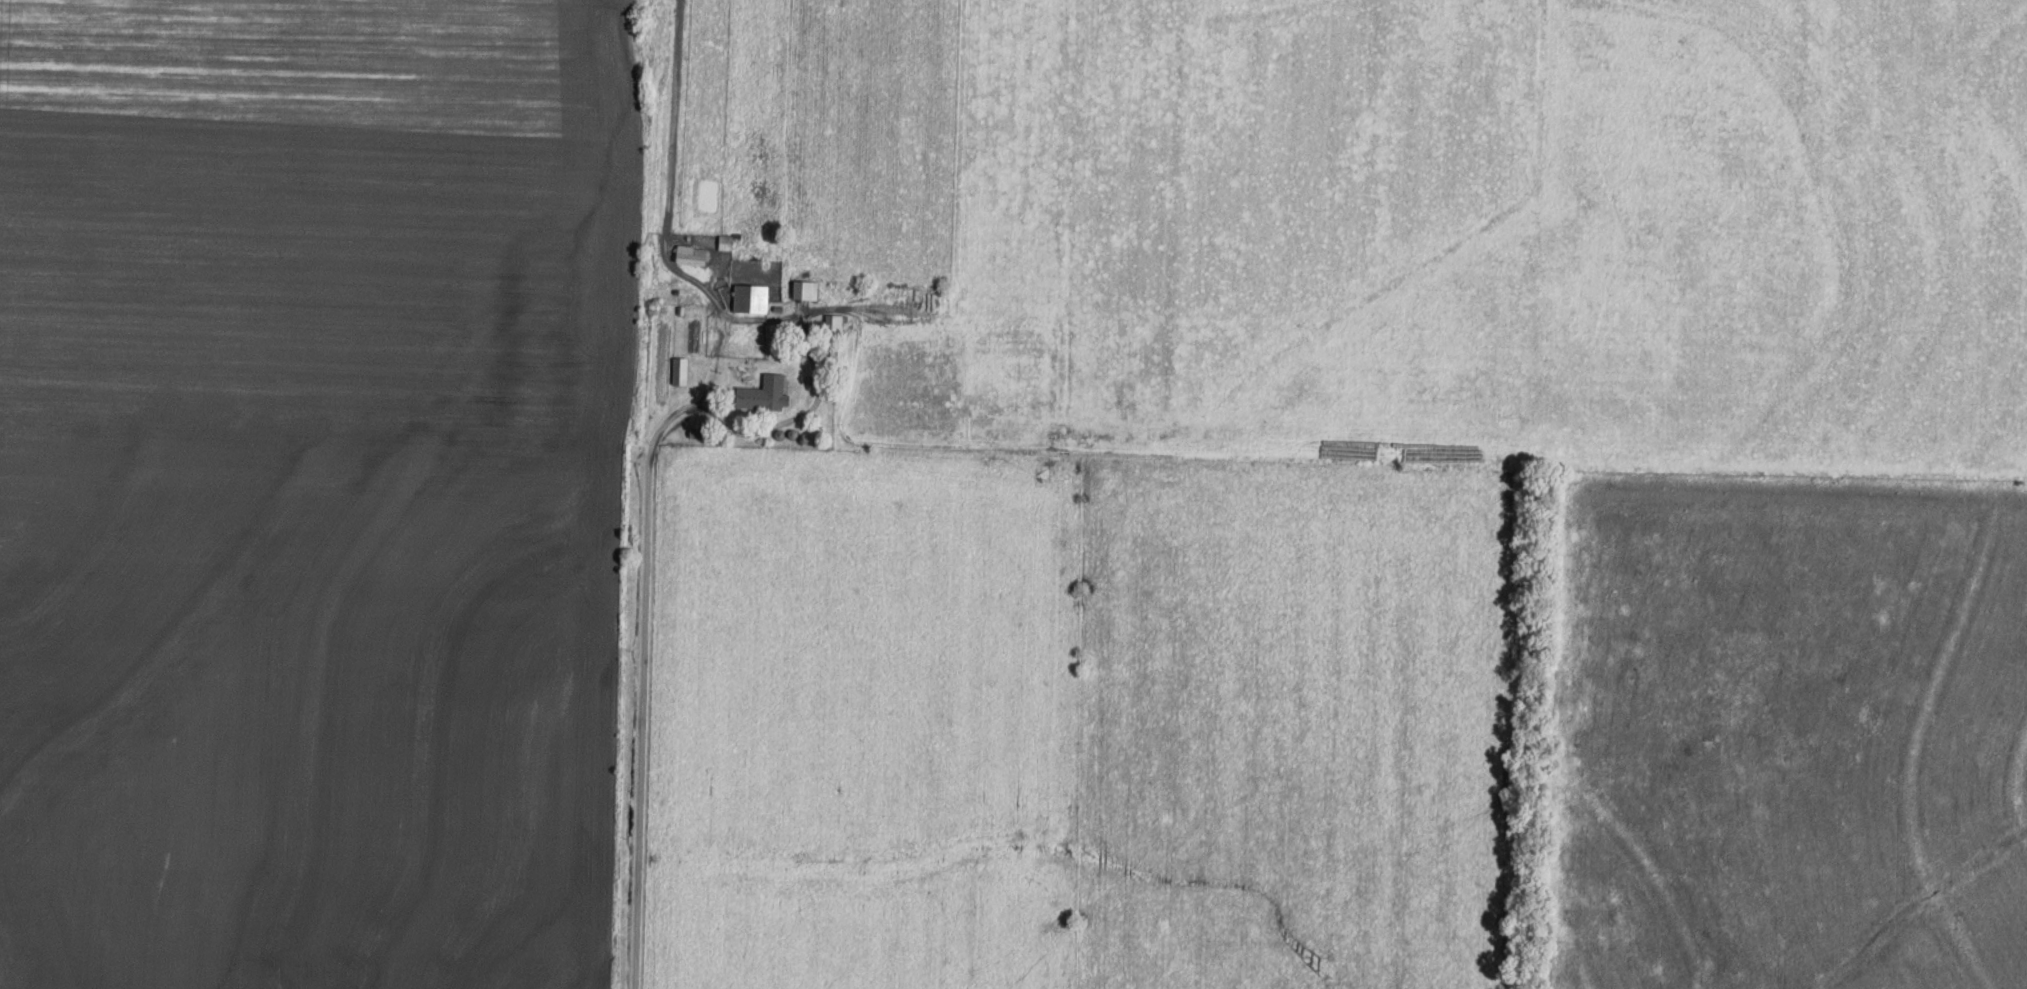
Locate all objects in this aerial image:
building: (725, 242)
building: (690, 254)
building: (805, 290)
building: (750, 298)
building: (833, 325)
building: (680, 371)
building: (762, 395)
crop: (317, 492)
road: (641, 605)

